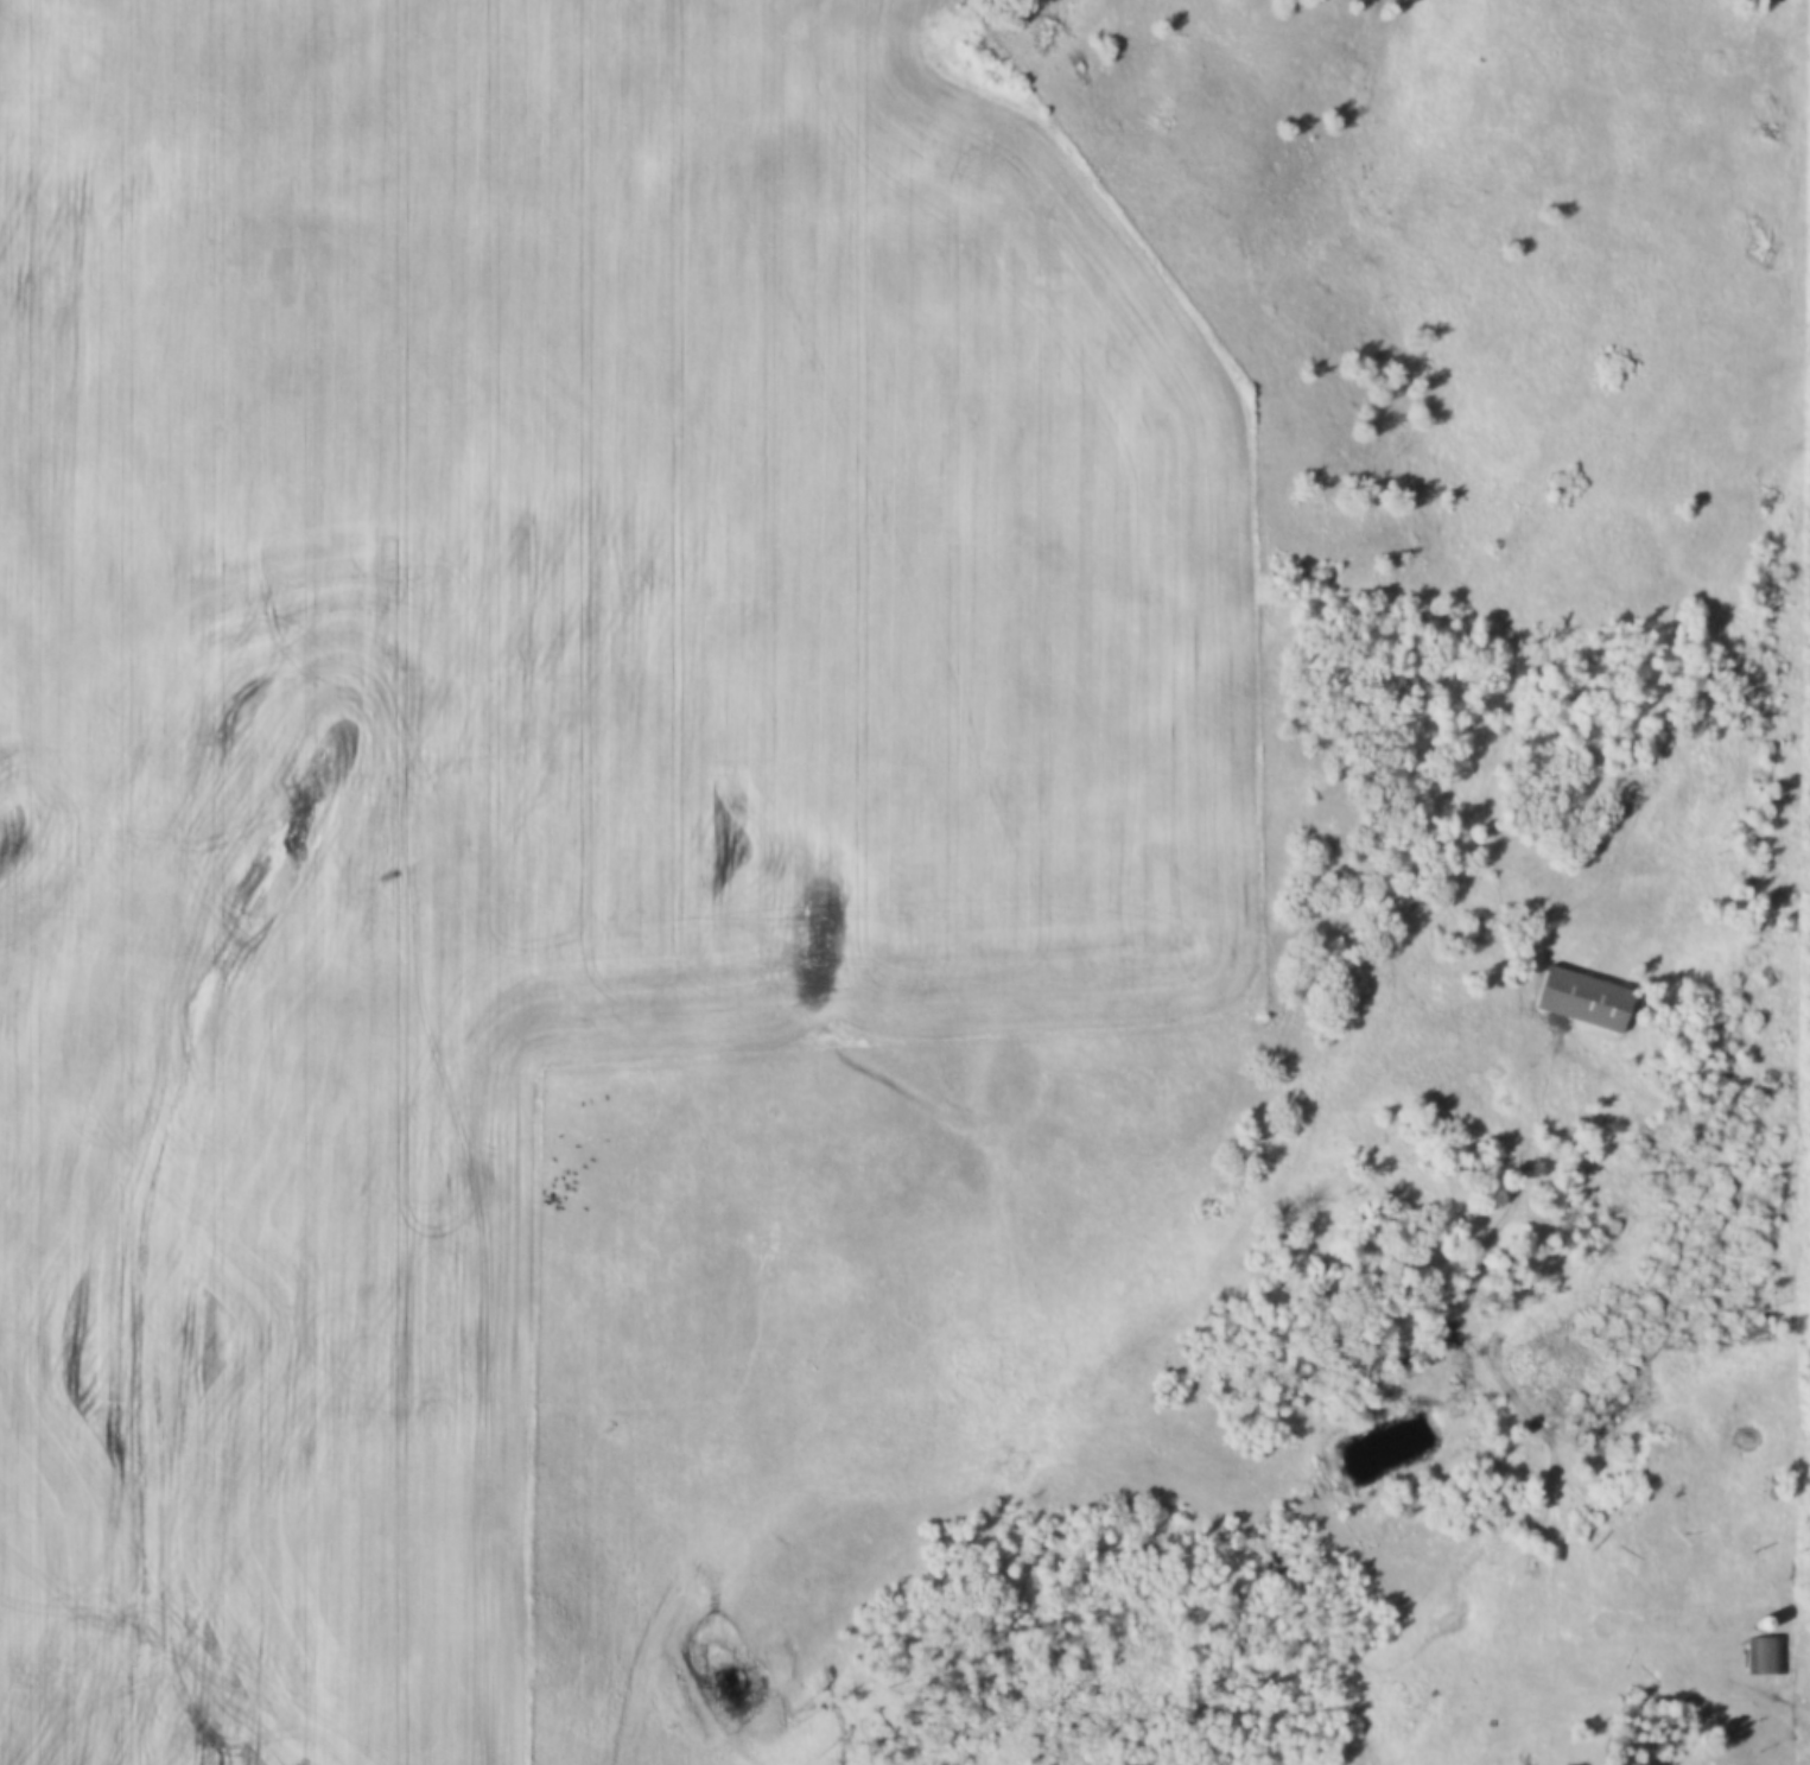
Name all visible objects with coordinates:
road: (1764, 1691)

